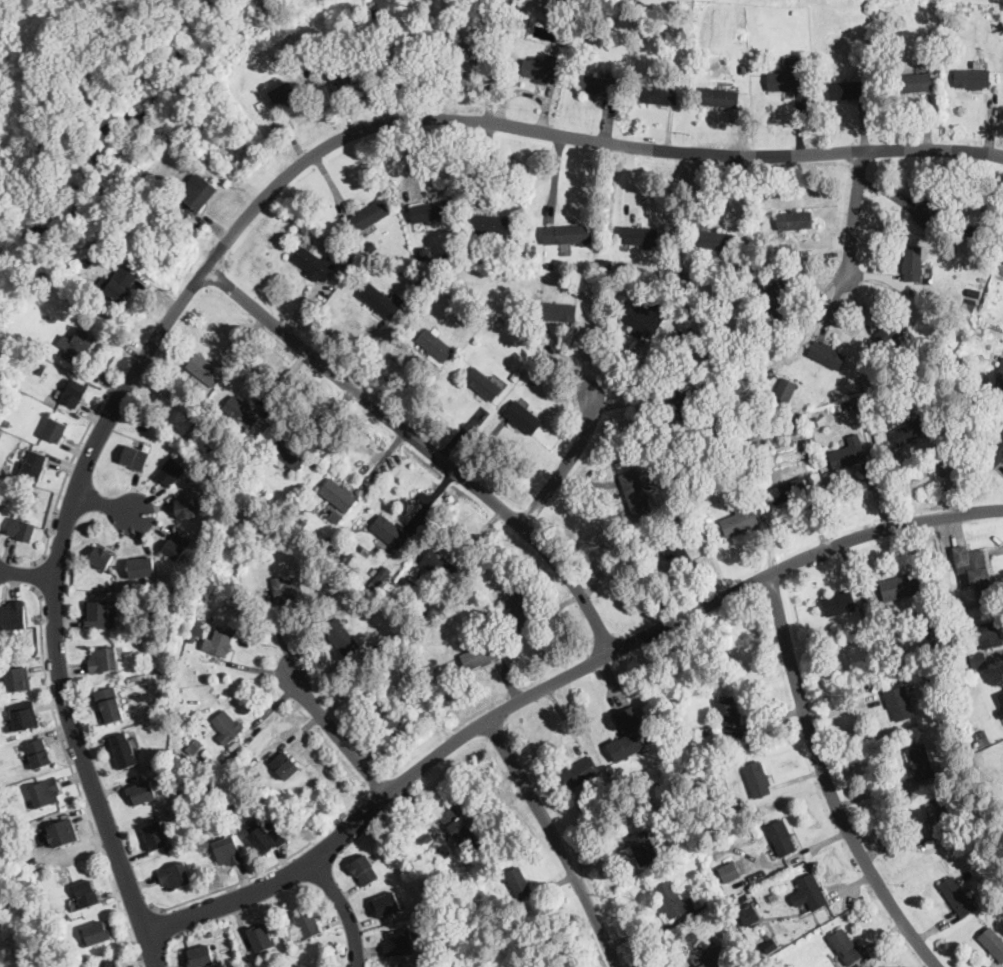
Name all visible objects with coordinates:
building: (555, 8)
building: (794, 13)
building: (357, 20)
building: (408, 51)
building: (480, 54)
building: (307, 57)
building: (868, 65)
building: (348, 69)
building: (541, 70)
building: (743, 70)
building: (787, 78)
building: (972, 79)
building: (913, 83)
building: (595, 84)
building: (847, 91)
building: (284, 96)
building: (659, 96)
building: (719, 99)
building: (197, 192)
building: (929, 208)
building: (430, 211)
road: (854, 215)
building: (368, 216)
building: (794, 220)
road: (237, 225)
building: (490, 225)
building: (969, 229)
building: (568, 235)
building: (637, 236)
building: (714, 241)
building: (352, 244)
building: (95, 245)
building: (371, 247)
building: (783, 252)
building: (424, 255)
building: (343, 258)
building: (447, 259)
building: (1002, 260)
building: (912, 264)
building: (314, 265)
building: (549, 266)
building: (626, 267)
building: (1000, 268)
building: (686, 275)
building: (603, 280)
building: (421, 283)
building: (121, 284)
building: (335, 284)
building: (455, 301)
building: (775, 301)
building: (379, 302)
building: (970, 307)
building: (558, 312)
building: (697, 314)
building: (639, 322)
building: (500, 323)
building: (974, 327)
building: (894, 328)
building: (983, 330)
building: (672, 332)
building: (755, 339)
building: (435, 345)
building: (76, 346)
building: (826, 355)
building: (42, 368)
building: (205, 370)
building: (515, 377)
building: (1000, 377)
building: (533, 381)
building: (483, 385)
building: (785, 390)
building: (208, 391)
building: (75, 394)
building: (886, 398)
building: (731, 401)
building: (683, 402)
building: (864, 408)
building: (241, 412)
building: (523, 418)
building: (5, 422)
building: (763, 429)
building: (910, 429)
building: (56, 430)
road: (424, 445)
building: (994, 449)
building: (749, 452)
building: (848, 453)
building: (288, 454)
building: (135, 458)
building: (205, 460)
road: (568, 463)
building: (34, 465)
road: (68, 471)
building: (170, 471)
building: (809, 480)
building: (249, 483)
building: (259, 486)
building: (788, 491)
building: (635, 493)
building: (35, 495)
building: (338, 495)
building: (693, 496)
road: (107, 504)
building: (186, 507)
building: (298, 509)
building: (0, 516)
building: (336, 516)
building: (677, 518)
building: (709, 519)
building: (740, 519)
building: (302, 523)
building: (22, 531)
building: (389, 532)
building: (332, 543)
building: (176, 546)
building: (675, 551)
building: (101, 557)
building: (348, 557)
building: (439, 566)
building: (141, 567)
building: (973, 568)
road: (618, 570)
road: (28, 575)
building: (383, 575)
road: (34, 576)
building: (900, 587)
building: (287, 590)
building: (396, 592)
building: (950, 598)
building: (470, 599)
building: (838, 604)
building: (521, 611)
building: (98, 615)
building: (14, 616)
building: (193, 621)
building: (401, 626)
building: (989, 635)
building: (341, 636)
building: (193, 637)
building: (219, 642)
building: (930, 656)
building: (480, 657)
building: (103, 660)
building: (977, 661)
building: (17, 679)
road: (554, 681)
building: (166, 686)
building: (1001, 699)
building: (431, 704)
building: (899, 704)
building: (109, 705)
building: (388, 711)
building: (1001, 714)
building: (24, 715)
building: (728, 721)
building: (227, 727)
road: (338, 733)
building: (627, 735)
building: (645, 738)
building: (981, 739)
building: (670, 741)
building: (663, 746)
building: (194, 747)
building: (124, 751)
building: (39, 754)
building: (207, 755)
building: (970, 762)
building: (919, 763)
building: (284, 766)
building: (579, 773)
road: (75, 778)
building: (756, 780)
road: (829, 781)
building: (258, 788)
building: (46, 792)
building: (142, 793)
building: (10, 801)
building: (589, 809)
building: (937, 819)
building: (989, 819)
building: (679, 821)
building: (458, 827)
building: (723, 831)
building: (61, 833)
building: (156, 836)
building: (427, 838)
building: (781, 839)
building: (266, 840)
road: (557, 840)
building: (412, 847)
building: (643, 848)
building: (228, 851)
building: (698, 854)
building: (426, 858)
building: (33, 862)
building: (364, 870)
building: (729, 871)
building: (765, 875)
building: (175, 876)
building: (518, 883)
building: (728, 883)
road: (233, 884)
building: (809, 893)
building: (86, 894)
building: (732, 896)
building: (957, 897)
building: (742, 898)
building: (672, 900)
building: (387, 905)
road: (344, 911)
road: (138, 912)
building: (704, 915)
building: (749, 916)
building: (65, 918)
building: (309, 924)
building: (219, 925)
building: (98, 932)
building: (261, 938)
building: (398, 943)
building: (992, 943)
building: (772, 944)
building: (846, 947)
building: (703, 954)
building: (200, 956)
building: (108, 964)
building: (77, 965)
building: (299, 966)

